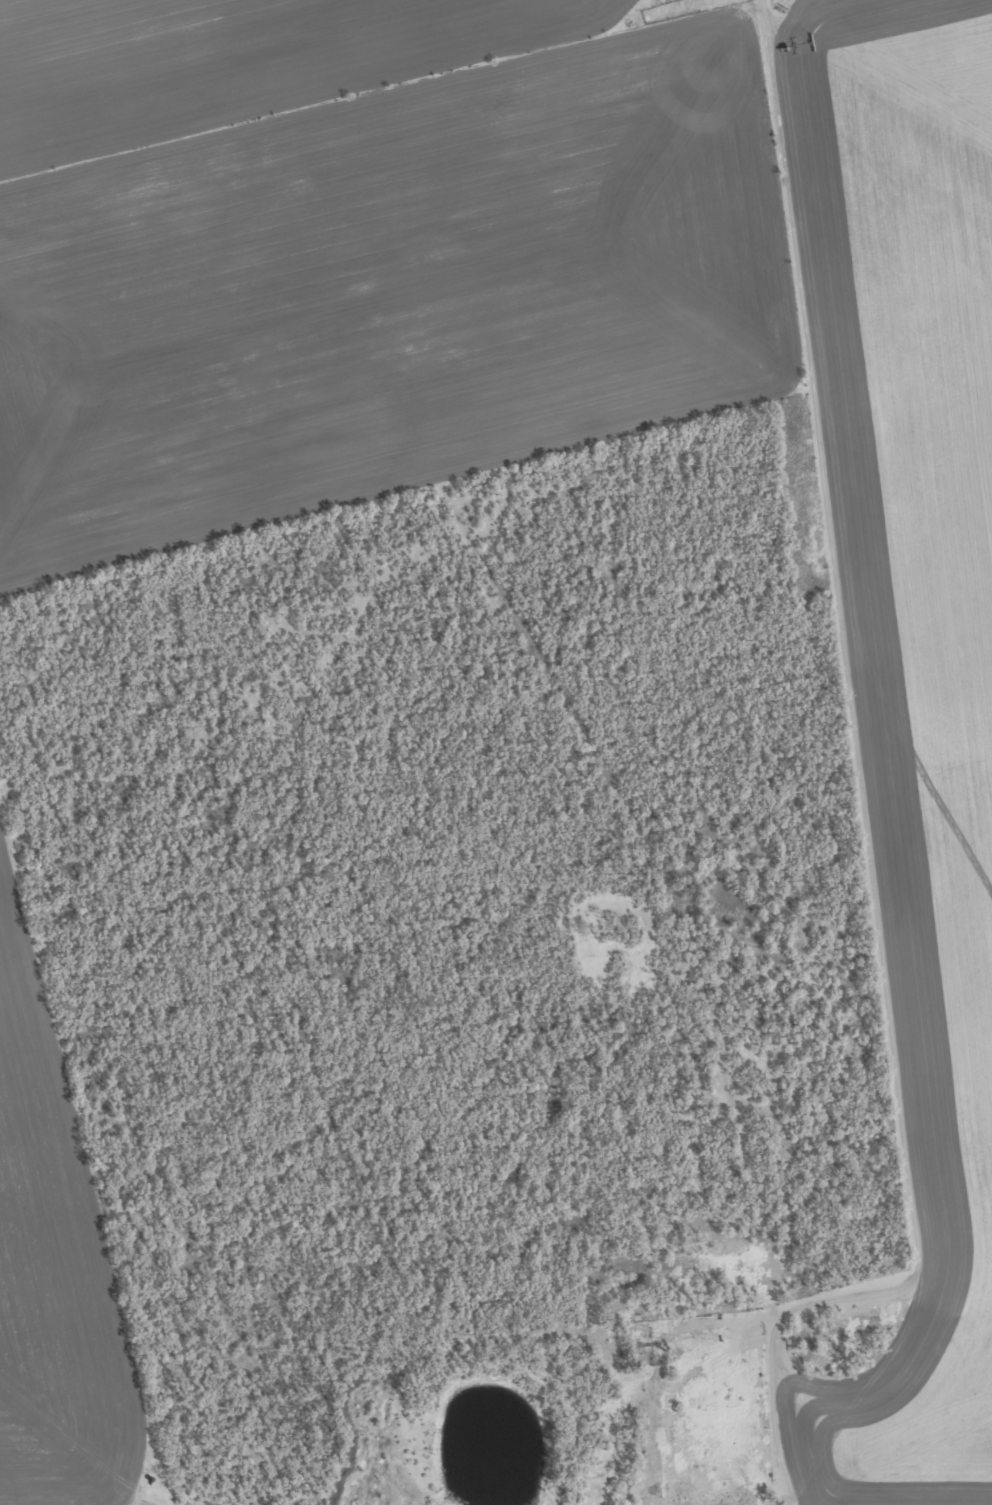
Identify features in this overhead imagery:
road: (765, 1336)
road: (880, 1370)

